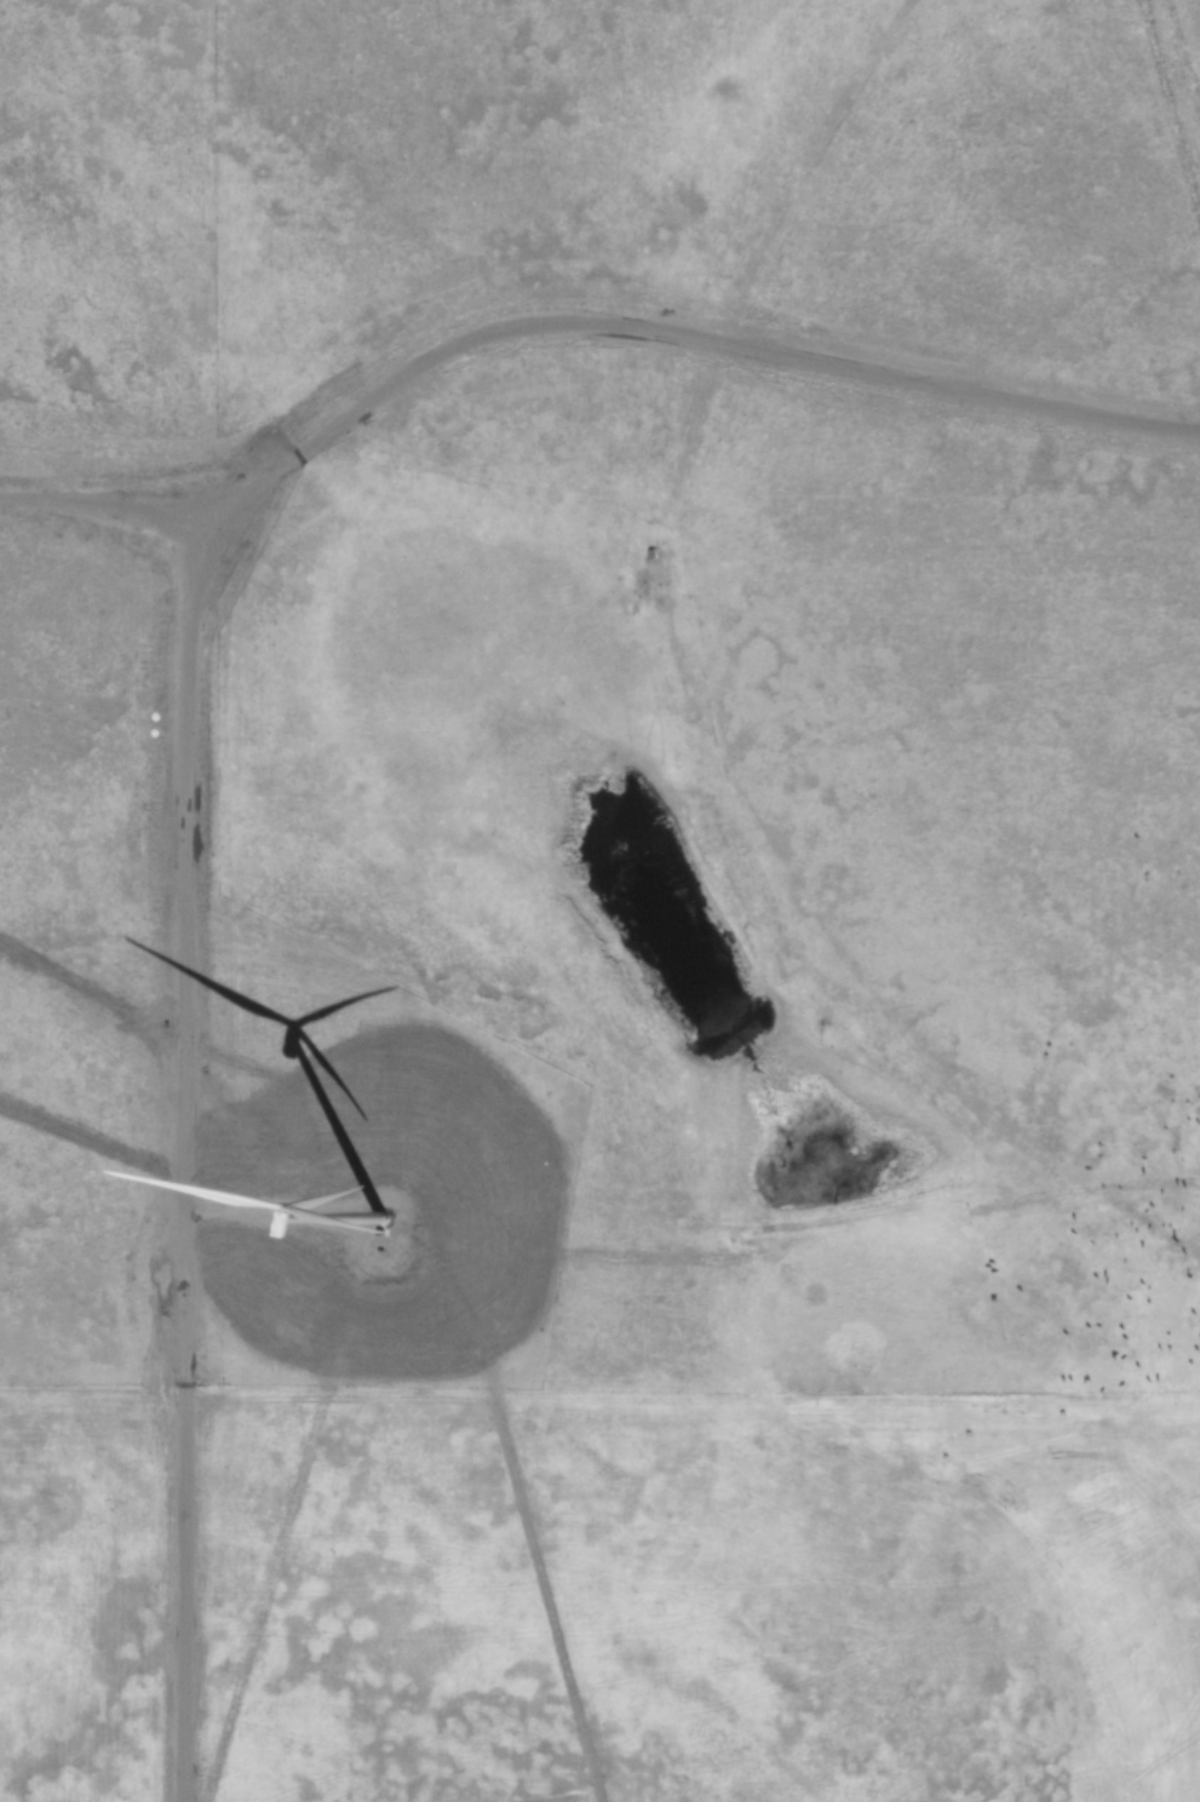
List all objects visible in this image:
wind turbine: (367, 1211)

